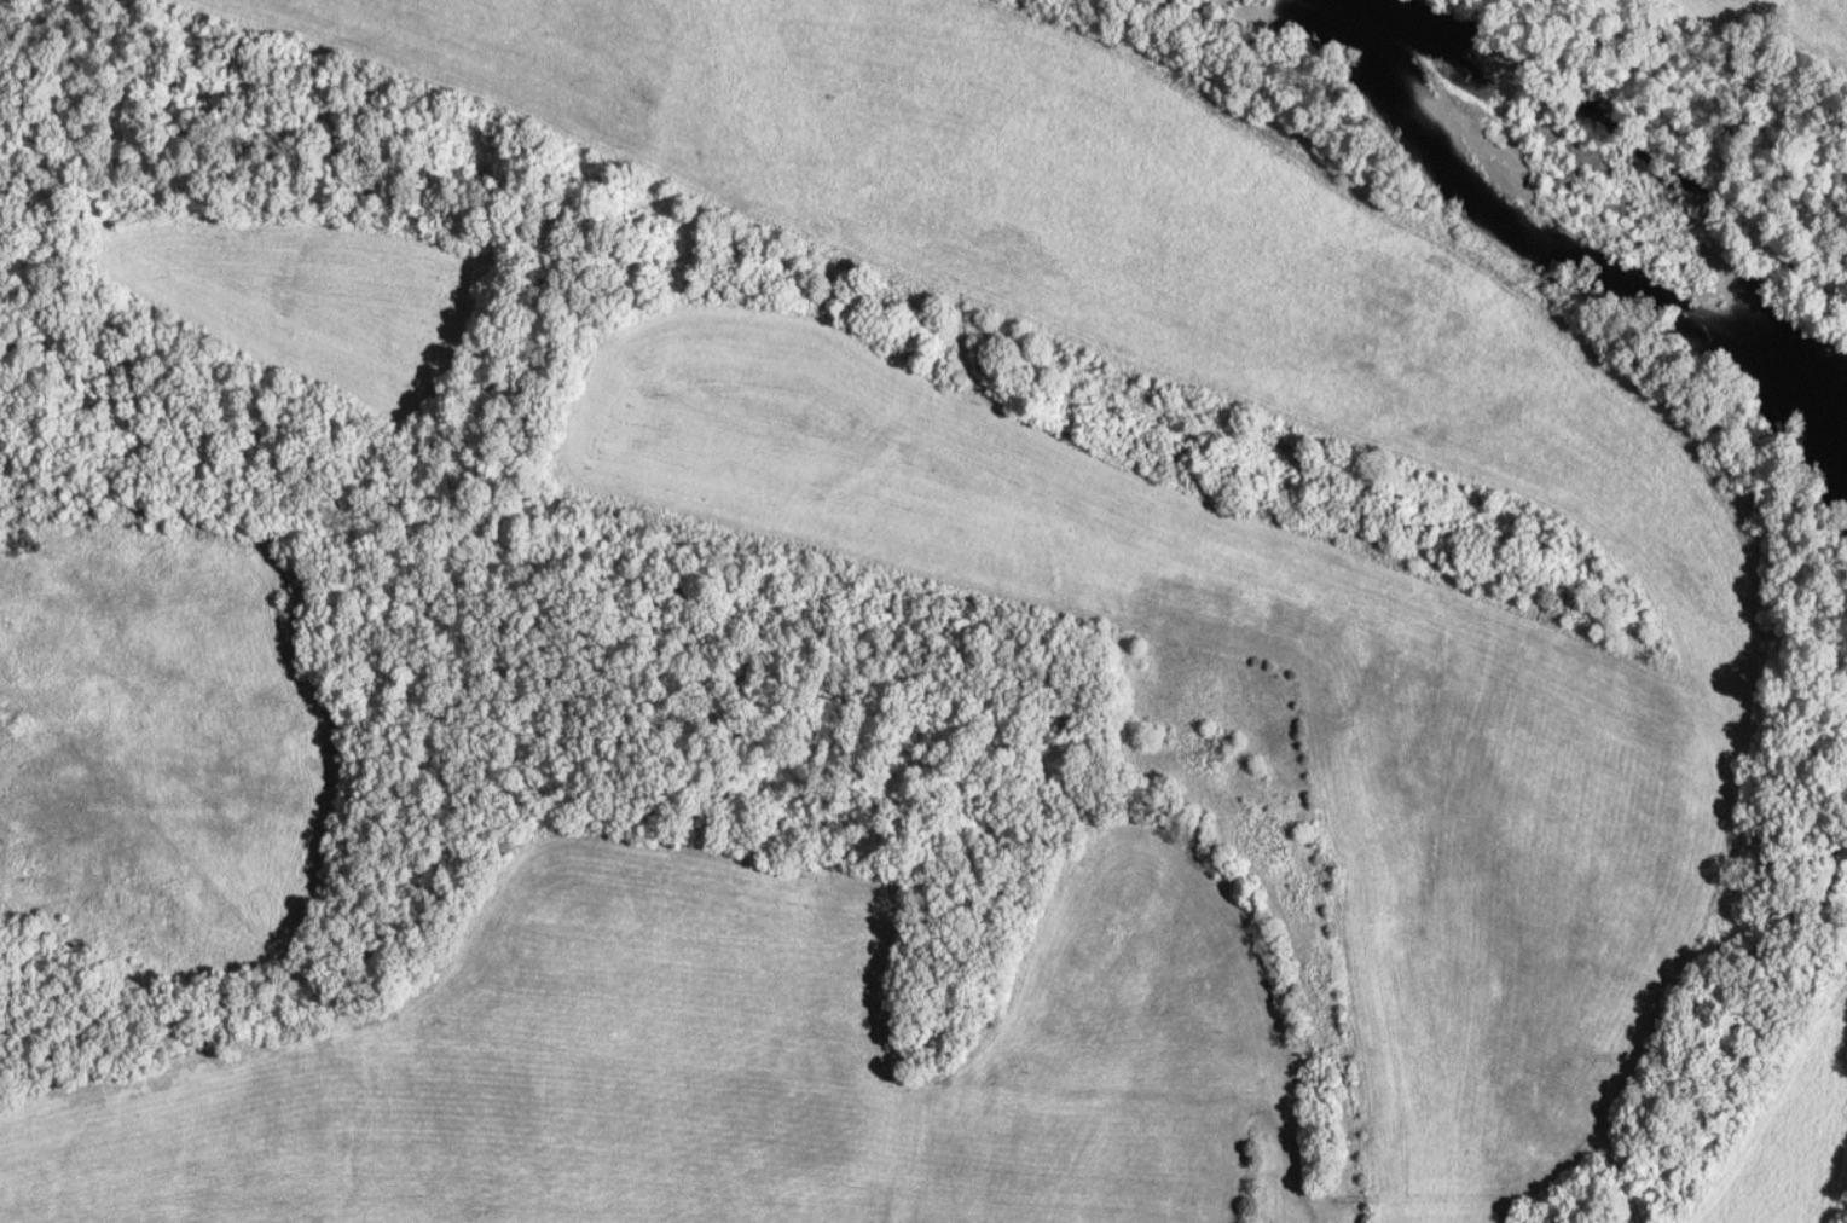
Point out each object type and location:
river: (1570, 244)

